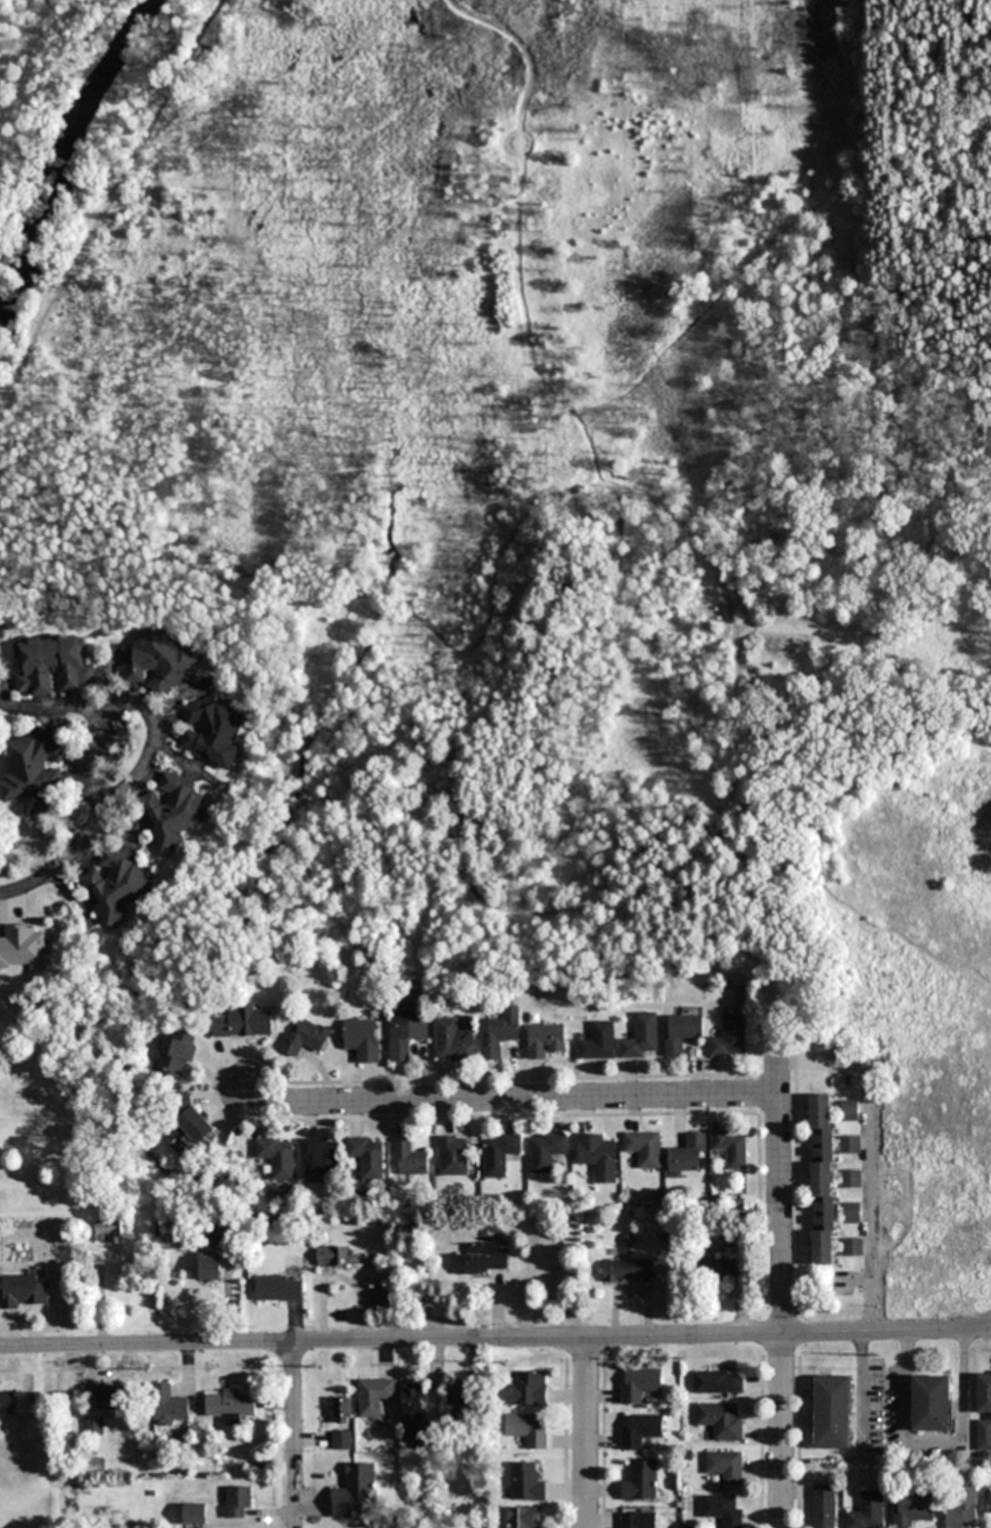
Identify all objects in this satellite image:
river: (65, 147)
park: (494, 434)
park: (936, 542)
building: (157, 663)
building: (53, 667)
building: (213, 734)
building: (35, 768)
building: (173, 813)
road: (80, 835)
building: (116, 887)
building: (25, 949)
building: (244, 1024)
building: (406, 1032)
building: (681, 1034)
building: (500, 1035)
building: (641, 1038)
building: (306, 1039)
building: (729, 1039)
building: (363, 1041)
road: (776, 1041)
building: (453, 1042)
building: (545, 1042)
building: (598, 1043)
building: (177, 1058)
road: (514, 1102)
building: (849, 1110)
building: (194, 1120)
building: (849, 1145)
building: (644, 1149)
building: (731, 1150)
building: (546, 1152)
building: (499, 1155)
building: (687, 1155)
road: (869, 1155)
building: (598, 1156)
building: (453, 1157)
building: (278, 1158)
building: (320, 1158)
building: (368, 1158)
building: (410, 1160)
building: (851, 1179)
building: (821, 1180)
building: (852, 1212)
building: (109, 1232)
building: (216, 1235)
building: (852, 1247)
building: (339, 1257)
building: (484, 1259)
building: (210, 1266)
building: (720, 1267)
building: (627, 1271)
building: (280, 1288)
building: (21, 1292)
building: (380, 1299)
road: (782, 1312)
road: (979, 1325)
road: (495, 1341)
building: (639, 1384)
building: (718, 1384)
building: (529, 1390)
building: (983, 1394)
building: (459, 1396)
building: (110, 1398)
building: (373, 1398)
building: (6, 1403)
building: (931, 1403)
building: (412, 1404)
building: (168, 1406)
building: (230, 1406)
building: (342, 1410)
building: (832, 1413)
building: (721, 1421)
building: (528, 1429)
building: (639, 1431)
road: (586, 1433)
road: (295, 1435)
building: (984, 1436)
building: (342, 1441)
building: (725, 1467)
building: (526, 1483)
building: (641, 1483)
building: (354, 1490)
building: (237, 1502)
building: (988, 1503)
building: (823, 1507)
building: (960, 1507)
building: (723, 1509)
building: (912, 1509)
building: (867, 1511)
building: (521, 1517)

